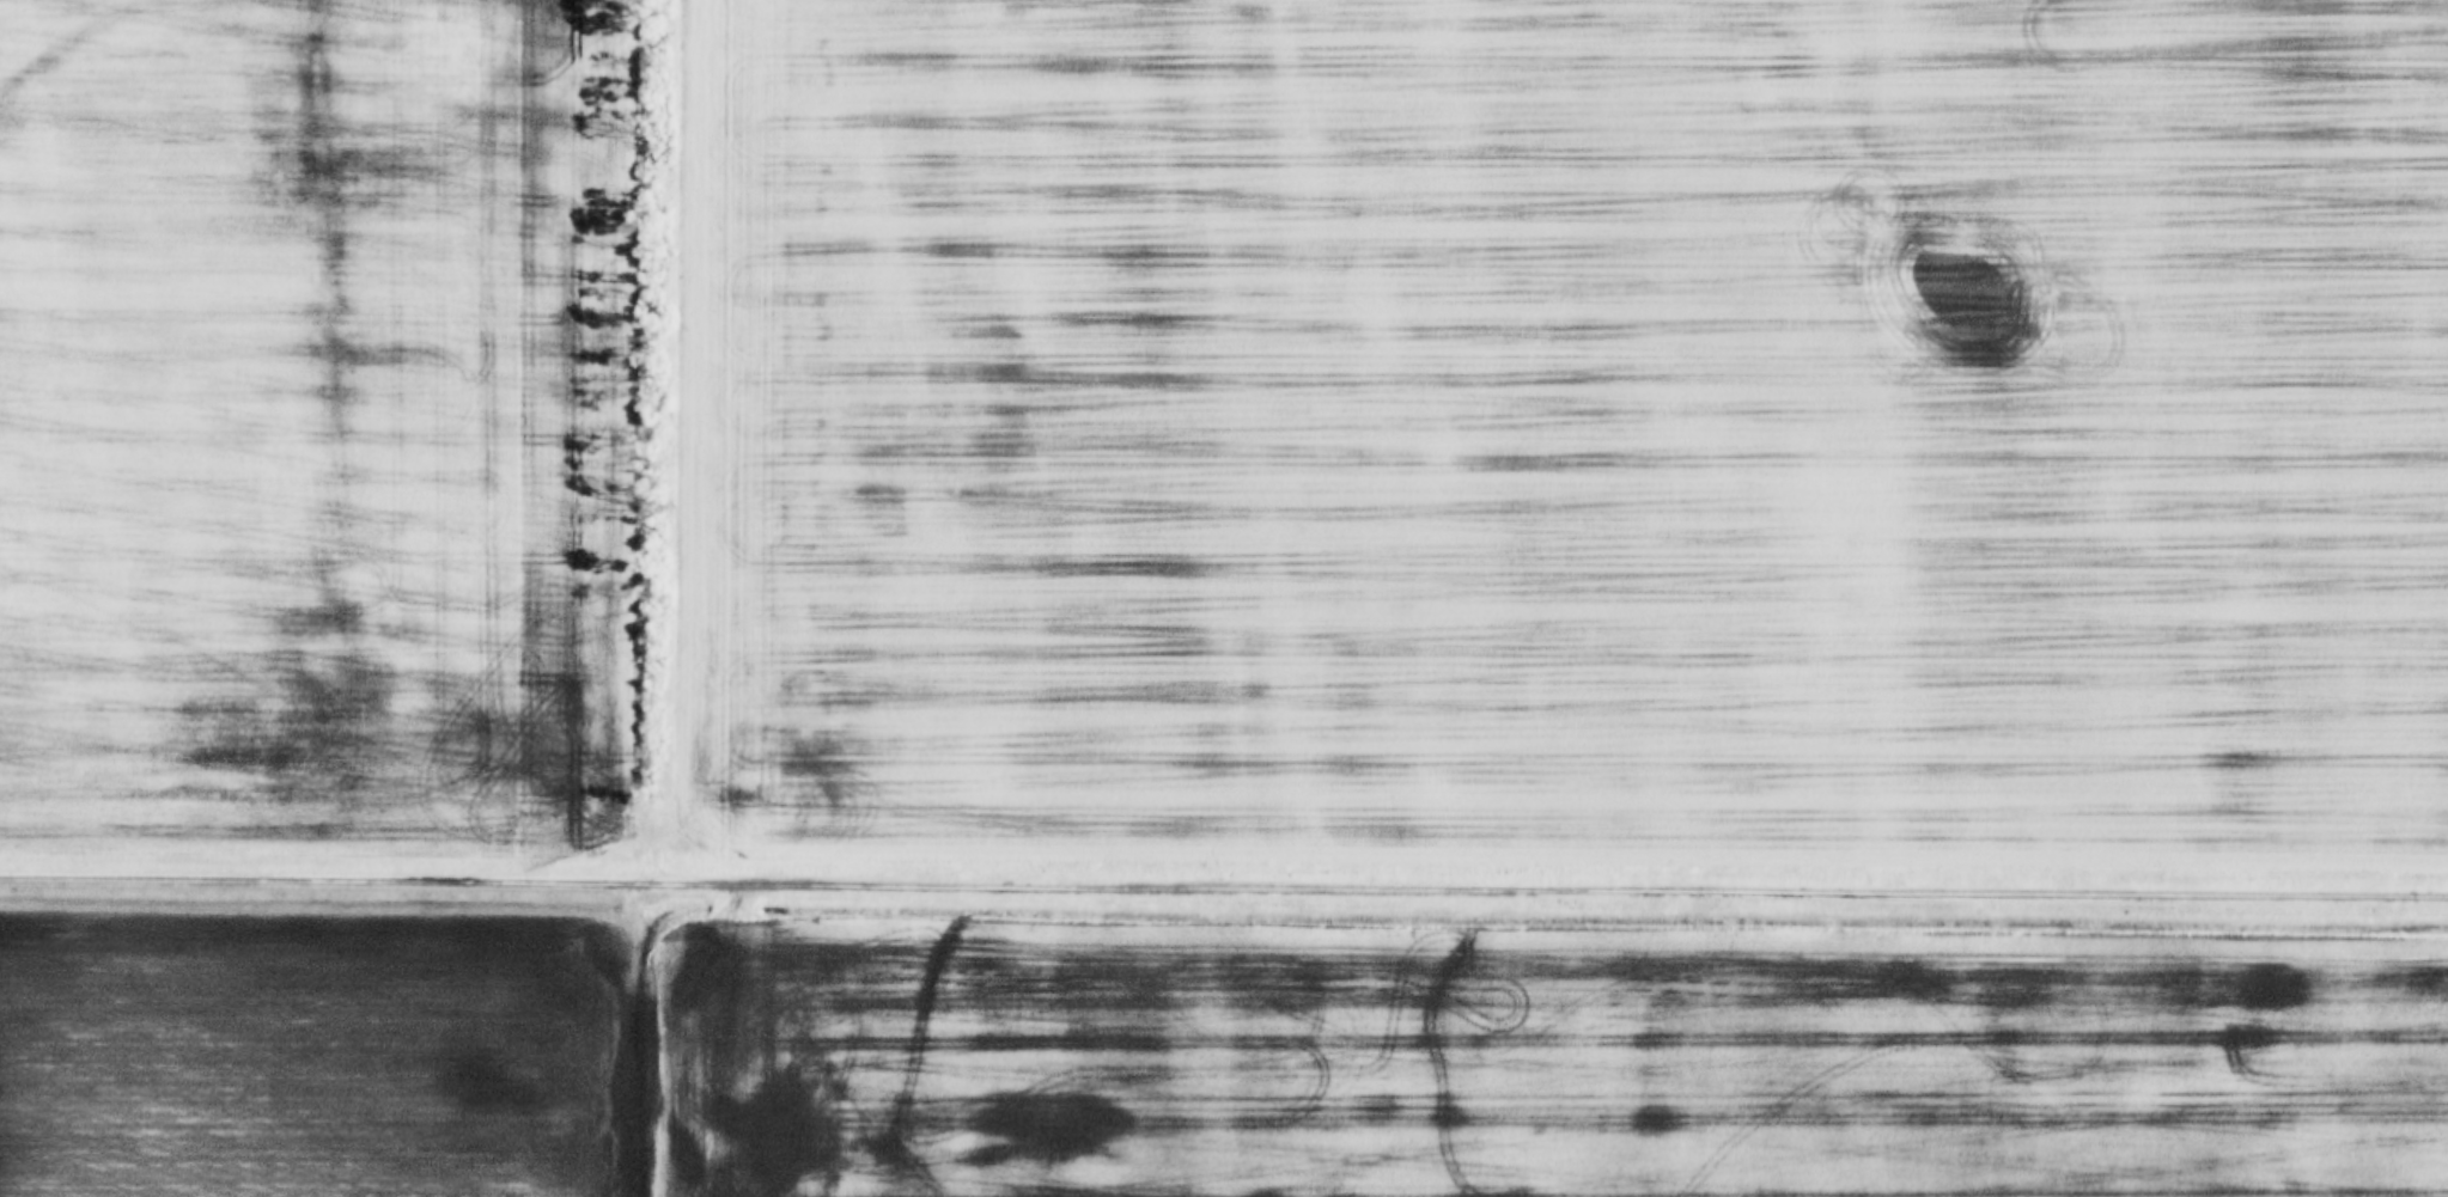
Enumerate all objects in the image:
road: (1224, 884)

